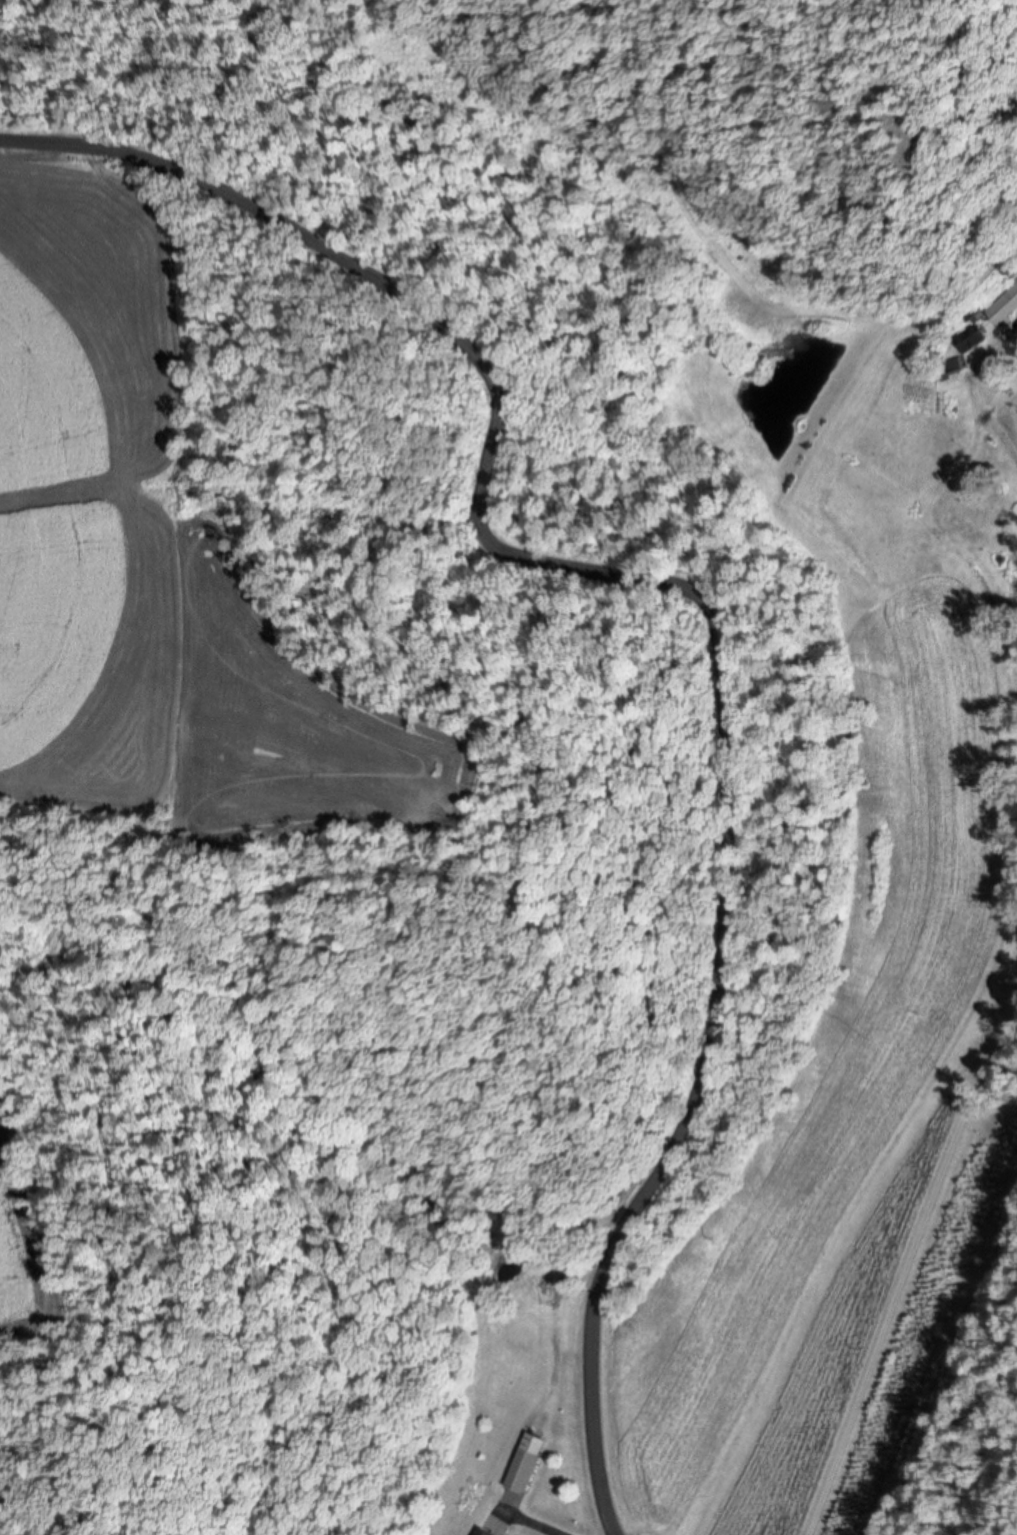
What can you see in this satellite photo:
building: (1005, 310)
road: (715, 611)
road: (911, 1276)
building: (526, 1463)
road: (537, 1521)
building: (480, 1531)

